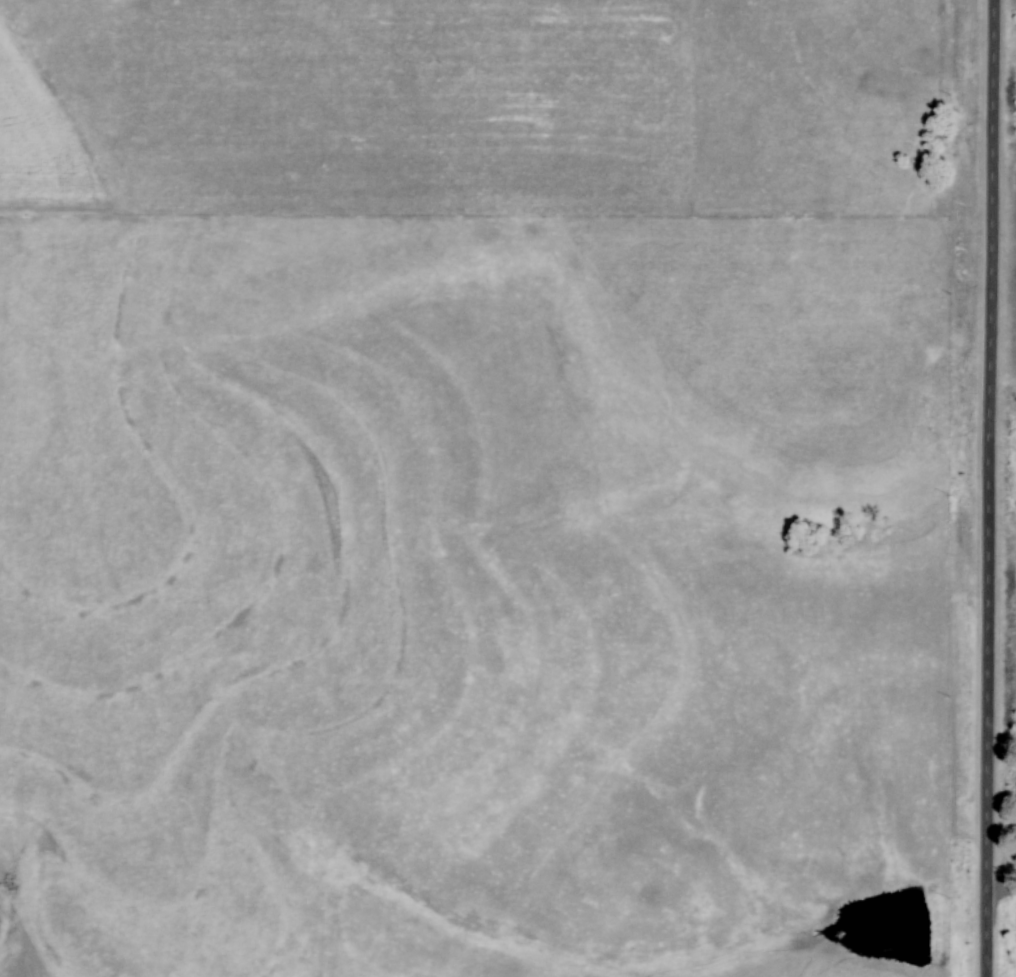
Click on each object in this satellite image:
road: (995, 488)
road: (1004, 897)

